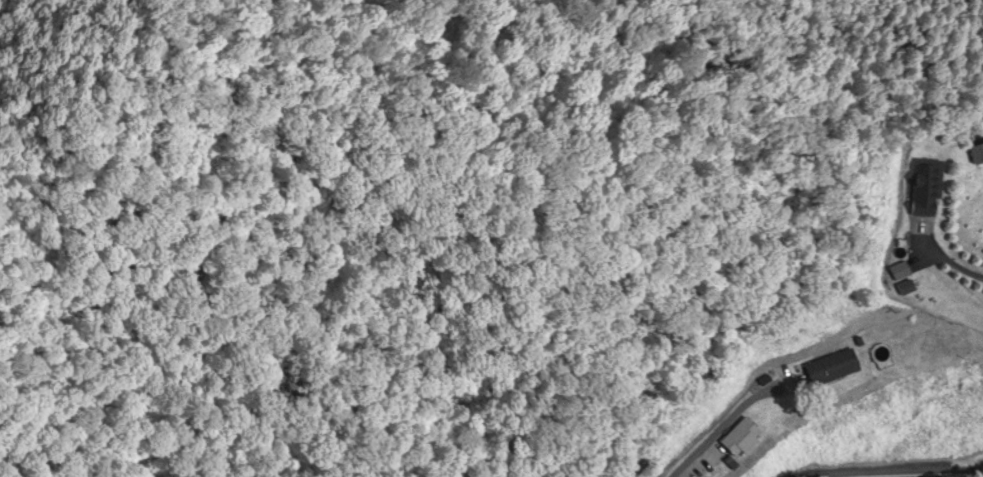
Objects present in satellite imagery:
building: (977, 156)
building: (930, 187)
road: (947, 261)
building: (838, 369)
road: (730, 425)
building: (745, 437)
road: (920, 471)

